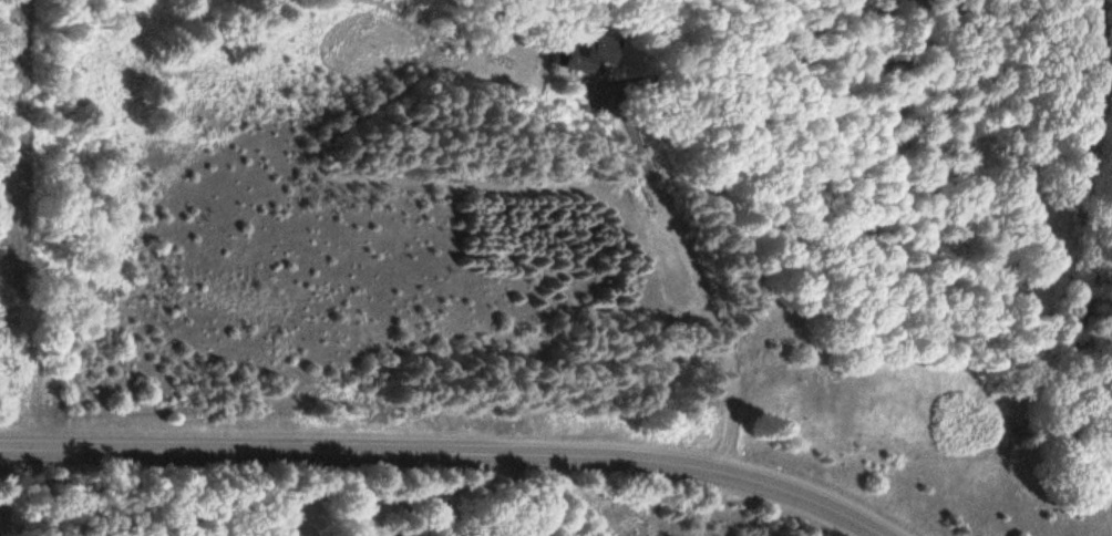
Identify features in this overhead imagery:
building: (578, 53)
road: (692, 261)
road: (447, 457)
road: (717, 505)

